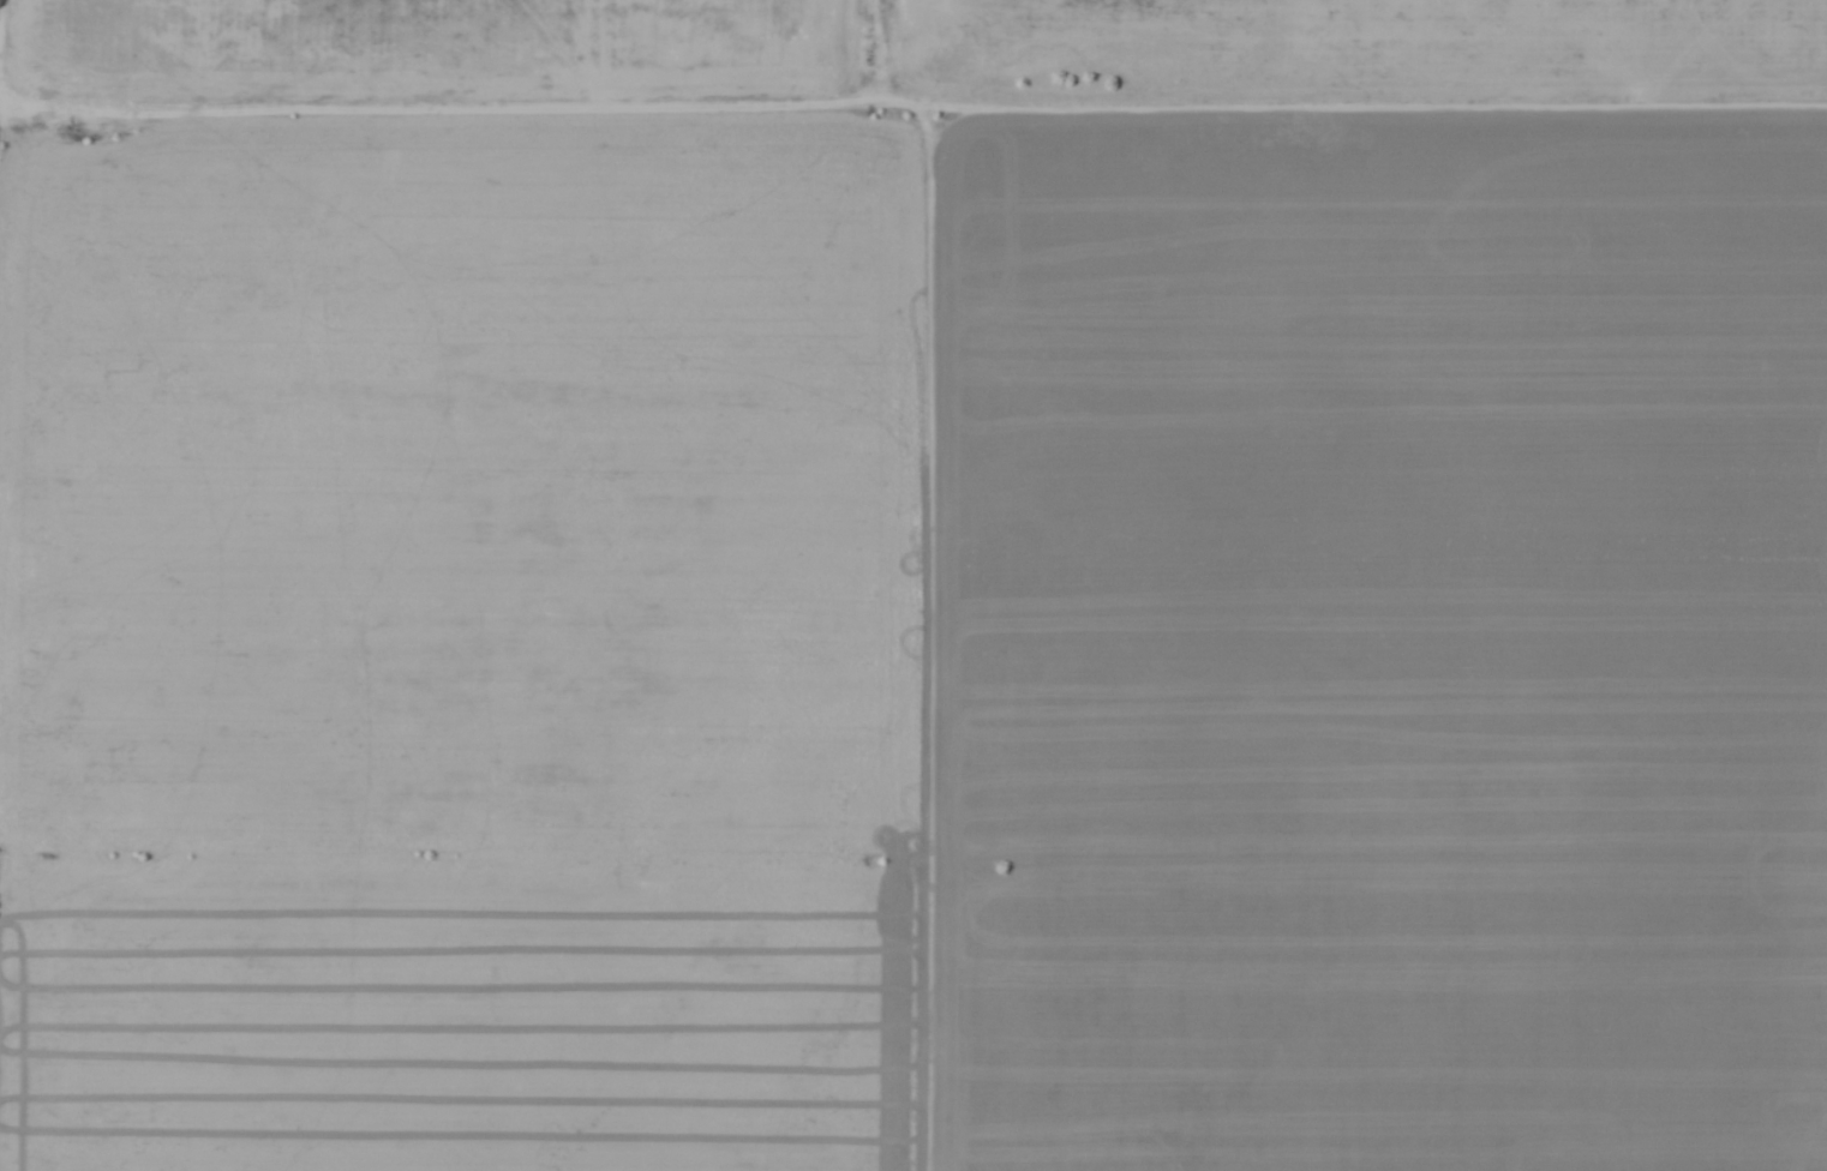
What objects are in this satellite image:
crop: (915, 605)

